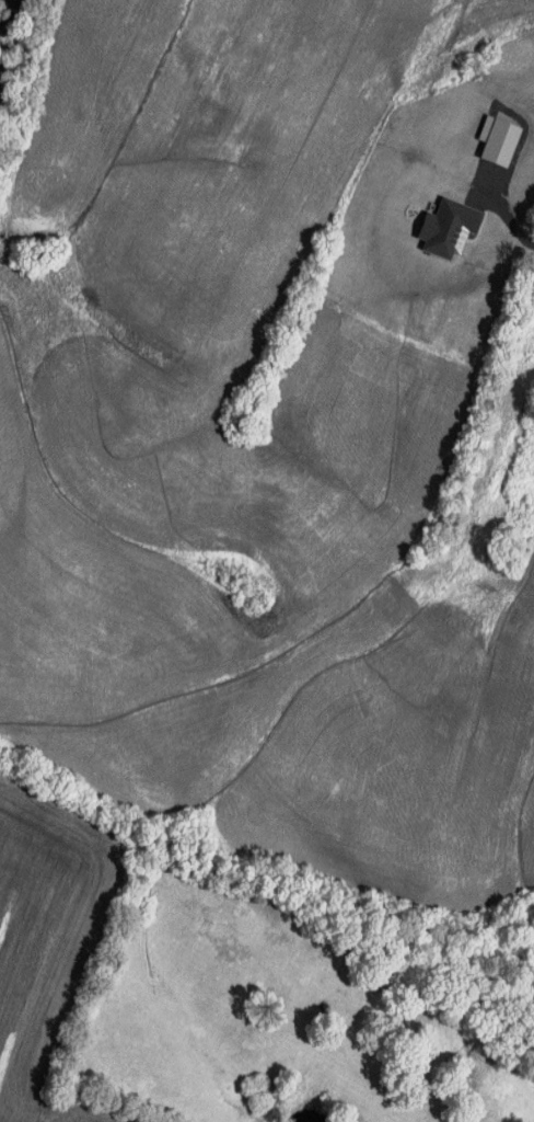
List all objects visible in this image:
road: (509, 218)

